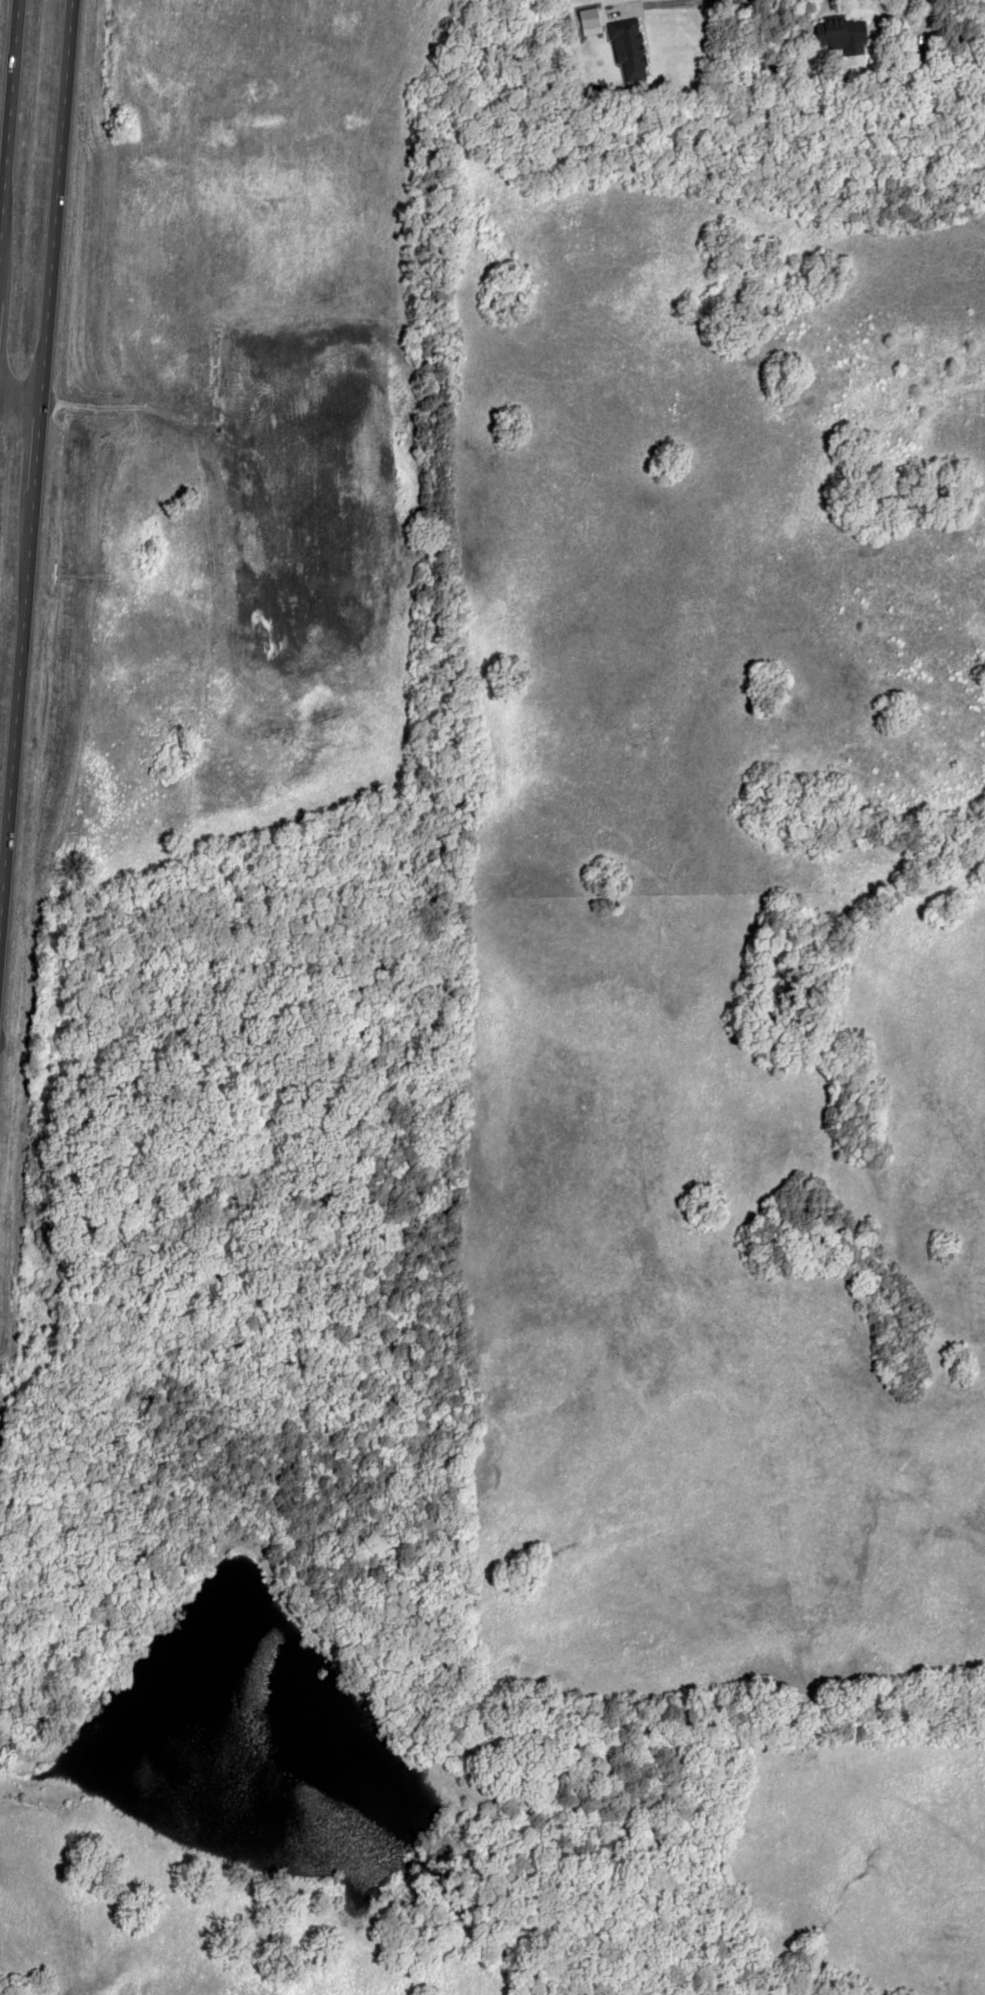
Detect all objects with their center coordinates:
road: (657, 5)
building: (843, 35)
building: (627, 48)
building: (920, 60)
road: (8, 111)
road: (34, 418)

